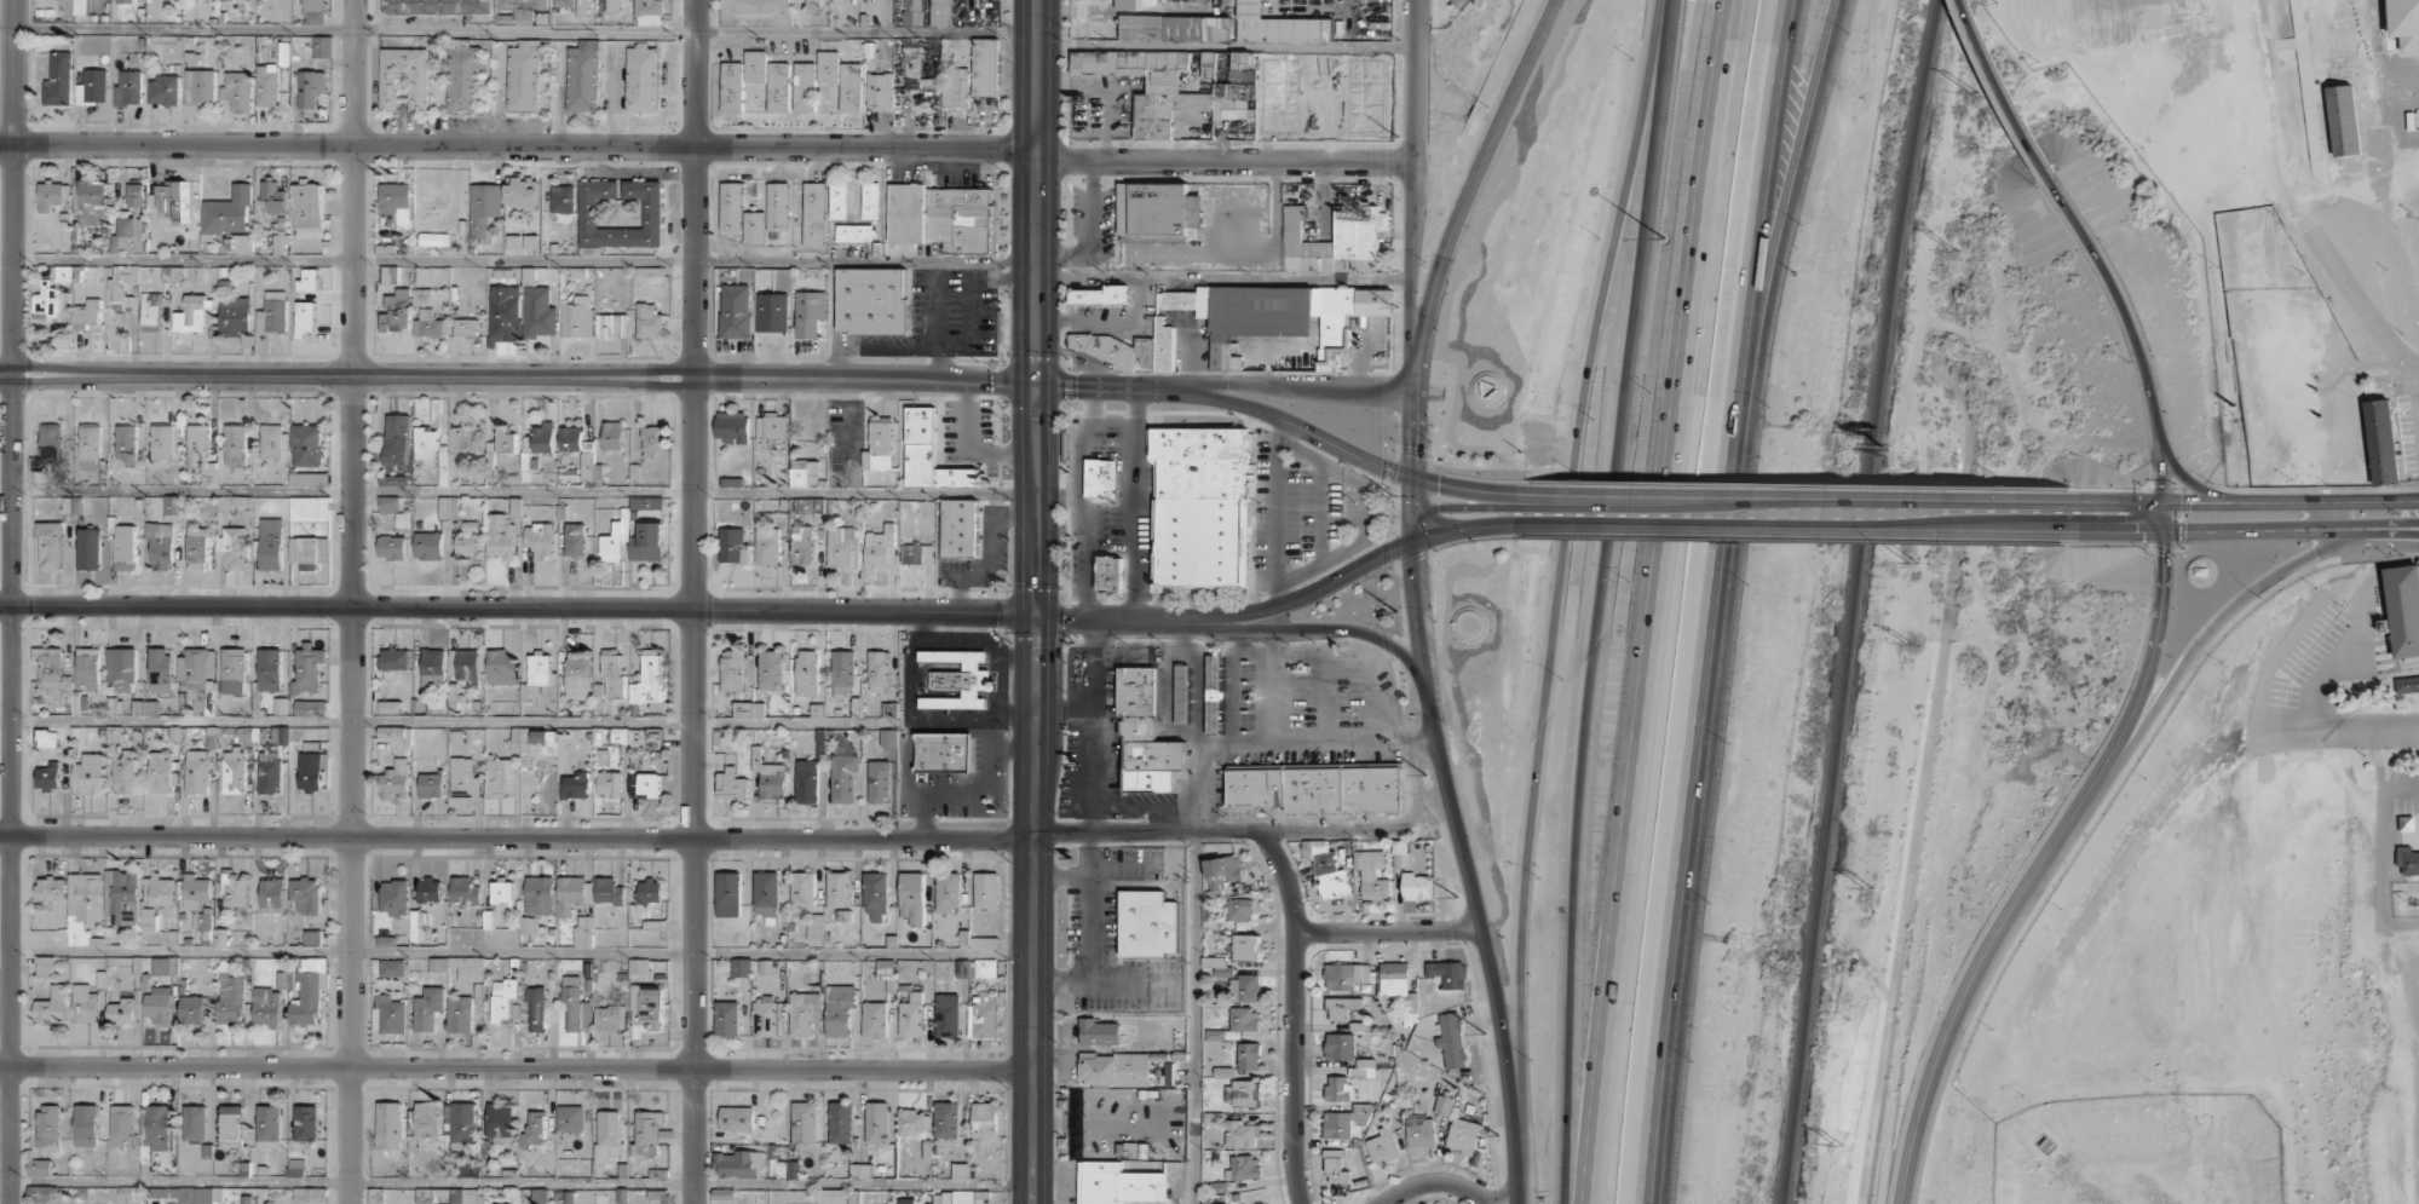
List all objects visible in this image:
building: (1176, 0)
building: (1196, 0)
building: (125, 1)
building: (563, 2)
building: (612, 5)
building: (1127, 5)
building: (81, 6)
building: (436, 6)
building: (755, 6)
building: (816, 6)
building: (583, 7)
building: (523, 8)
building: (313, 11)
building: (649, 12)
building: (912, 12)
building: (941, 12)
park: (1445, 12)
building: (2404, 23)
building: (1279, 25)
building: (1175, 28)
road: (518, 31)
building: (322, 46)
road: (1226, 47)
building: (755, 67)
building: (828, 67)
building: (985, 67)
building: (1243, 67)
building: (462, 75)
building: (523, 76)
building: (583, 76)
building: (643, 77)
building: (404, 79)
building: (58, 80)
building: (938, 80)
road: (1416, 81)
building: (267, 85)
building: (200, 86)
building: (732, 86)
building: (778, 86)
building: (92, 87)
building: (310, 87)
building: (805, 87)
building: (851, 87)
building: (128, 88)
building: (163, 90)
building: (237, 90)
building: (880, 90)
road: (2003, 90)
building: (1174, 100)
building: (1234, 102)
building: (2343, 120)
road: (518, 146)
road: (1226, 160)
building: (523, 192)
building: (52, 195)
building: (134, 195)
building: (273, 196)
building: (173, 198)
building: (561, 198)
building: (837, 200)
building: (870, 200)
building: (92, 201)
building: (397, 202)
building: (306, 203)
road: (1767, 204)
road: (1786, 204)
building: (731, 206)
building: (483, 207)
building: (777, 208)
building: (1157, 208)
building: (229, 212)
building: (587, 213)
building: (813, 214)
building: (941, 217)
road: (1413, 219)
building: (754, 226)
road: (1450, 229)
building: (128, 232)
building: (856, 232)
building: (434, 238)
building: (1335, 240)
building: (240, 242)
building: (513, 242)
building: (530, 242)
building: (281, 243)
road: (705, 263)
building: (69, 273)
building: (390, 273)
building: (529, 276)
building: (309, 280)
road: (1682, 284)
building: (122, 287)
building: (1100, 295)
building: (422, 296)
building: (46, 299)
building: (872, 300)
building: (151, 309)
building: (396, 311)
building: (736, 311)
building: (538, 312)
building: (772, 312)
building: (808, 312)
building: (195, 313)
building: (272, 313)
building: (503, 313)
building: (87, 315)
building: (1280, 315)
building: (235, 316)
building: (305, 317)
building: (577, 317)
building: (650, 321)
building: (430, 324)
building: (612, 326)
building: (466, 327)
road: (1410, 335)
road: (2136, 345)
building: (1130, 348)
road: (1035, 355)
road: (517, 376)
road: (1272, 384)
traffic signals: (1035, 386)
road: (1085, 387)
road: (1277, 416)
building: (731, 426)
building: (772, 426)
building: (610, 434)
building: (543, 438)
building: (571, 438)
building: (398, 440)
building: (506, 440)
building: (652, 440)
building: (52, 442)
building: (90, 442)
building: (162, 442)
building: (271, 442)
building: (2381, 442)
building: (127, 443)
building: (426, 444)
building: (236, 445)
building: (306, 445)
building: (879, 448)
building: (201, 453)
building: (929, 454)
building: (587, 467)
building: (805, 472)
building: (569, 473)
building: (1099, 477)
building: (309, 478)
road: (2190, 482)
road: (1468, 489)
road: (518, 492)
road: (1797, 499)
traffic signals: (2162, 501)
building: (646, 502)
road: (2241, 503)
building: (71, 505)
building: (388, 505)
building: (1200, 506)
building: (172, 507)
building: (448, 508)
building: (309, 509)
road: (1792, 526)
building: (960, 529)
road: (2241, 529)
traffic signals: (2162, 531)
building: (500, 536)
building: (540, 537)
building: (575, 538)
building: (647, 542)
building: (270, 543)
building: (466, 543)
building: (802, 543)
building: (50, 545)
building: (160, 545)
building: (611, 545)
building: (392, 546)
building: (428, 546)
building: (733, 546)
building: (767, 546)
building: (126, 547)
building: (232, 547)
building: (843, 547)
building: (880, 547)
building: (88, 548)
building: (197, 548)
building: (310, 551)
building: (917, 554)
road: (1363, 565)
building: (1108, 574)
road: (1556, 589)
road: (1599, 600)
railway: (1850, 600)
road: (11, 601)
road: (352, 601)
road: (695, 601)
road: (518, 606)
building: (2403, 609)
traffic signals: (1036, 616)
road: (1121, 618)
road: (2216, 622)
road: (1323, 629)
road: (1360, 656)
building: (393, 658)
road: (1121, 658)
building: (433, 661)
road: (1092, 664)
building: (467, 667)
building: (501, 667)
building: (88, 668)
building: (121, 668)
building: (309, 668)
building: (160, 669)
building: (270, 669)
building: (538, 669)
building: (771, 669)
building: (234, 670)
building: (732, 670)
building: (843, 670)
building: (879, 670)
building: (612, 672)
building: (807, 673)
building: (57, 676)
building: (576, 676)
road: (1196, 676)
building: (957, 679)
building: (197, 680)
building: (2407, 684)
building: (649, 685)
road: (1272, 687)
building: (1214, 693)
road: (1325, 697)
road: (1165, 699)
building: (281, 705)
building: (304, 707)
building: (390, 707)
building: (144, 708)
building: (748, 709)
road: (1062, 710)
road: (448, 721)
road: (2345, 731)
building: (394, 732)
building: (114, 733)
building: (1146, 736)
building: (888, 737)
building: (46, 738)
building: (534, 743)
road: (1334, 743)
building: (943, 751)
road: (1206, 759)
building: (311, 768)
building: (197, 771)
building: (232, 771)
road: (1090, 771)
building: (90, 772)
building: (125, 772)
building: (161, 772)
building: (269, 772)
building: (48, 776)
building: (500, 776)
building: (843, 777)
building: (463, 778)
building: (396, 779)
building: (806, 780)
building: (772, 782)
building: (879, 782)
building: (609, 784)
building: (731, 784)
building: (431, 785)
building: (575, 785)
building: (649, 785)
building: (1318, 789)
road: (1689, 807)
road: (1205, 818)
road: (1375, 830)
road: (1456, 831)
road: (629, 836)
building: (1400, 846)
building: (2407, 860)
road: (2035, 866)
building: (1326, 869)
building: (1222, 872)
building: (1371, 874)
building: (1415, 886)
road: (1624, 887)
building: (51, 888)
building: (463, 889)
building: (802, 889)
building: (839, 889)
building: (196, 891)
building: (234, 891)
building: (430, 891)
building: (607, 891)
building: (650, 891)
building: (985, 891)
building: (948, 892)
building: (502, 893)
building: (125, 894)
building: (306, 894)
building: (572, 894)
building: (728, 894)
building: (766, 894)
building: (272, 895)
building: (540, 895)
building: (394, 897)
building: (876, 897)
building: (912, 897)
building: (157, 899)
building: (85, 905)
building: (1240, 909)
building: (1150, 923)
building: (526, 927)
building: (816, 927)
road: (1388, 929)
building: (583, 932)
building: (312, 937)
building: (386, 941)
building: (978, 941)
building: (1244, 946)
road: (516, 951)
road: (1033, 956)
building: (1213, 961)
building: (46, 964)
building: (165, 966)
building: (638, 966)
building: (460, 967)
building: (742, 967)
building: (393, 968)
building: (886, 968)
building: (975, 968)
building: (1447, 973)
building: (1347, 975)
building: (284, 980)
building: (1248, 987)
building: (309, 991)
building: (230, 997)
building: (502, 1000)
building: (85, 1004)
building: (157, 1004)
building: (575, 1004)
building: (52, 1006)
building: (266, 1007)
building: (645, 1007)
building: (1341, 1007)
building: (427, 1008)
building: (192, 1009)
building: (536, 1009)
building: (840, 1009)
building: (122, 1010)
building: (805, 1013)
road: (1295, 1013)
building: (388, 1014)
building: (460, 1014)
building: (911, 1015)
building: (946, 1015)
building: (765, 1016)
building: (610, 1018)
building: (876, 1018)
building: (984, 1018)
road: (1194, 1018)
building: (727, 1019)
building: (1243, 1019)
building: (1099, 1032)
building: (1452, 1041)
building: (1340, 1045)
building: (1249, 1056)
road: (516, 1067)
building: (1364, 1067)
building: (1113, 1068)
building: (1337, 1088)
building: (1240, 1093)
building: (1442, 1105)
building: (1077, 1110)
building: (570, 1118)
building: (737, 1118)
building: (500, 1119)
building: (946, 1119)
building: (984, 1119)
building: (425, 1121)
building: (1346, 1121)
building: (195, 1122)
building: (804, 1122)
building: (840, 1122)
building: (876, 1122)
building: (914, 1122)
building: (306, 1123)
building: (459, 1123)
building: (390, 1124)
building: (86, 1125)
building: (122, 1125)
building: (231, 1125)
building: (267, 1125)
building: (48, 1128)
building: (534, 1128)
building: (155, 1133)
building: (647, 1133)
building: (1419, 1133)
building: (1240, 1134)
building: (607, 1135)
building: (1463, 1135)
building: (1383, 1146)
building: (739, 1164)
building: (781, 1164)
building: (1245, 1166)
building: (1336, 1166)
building: (39, 1168)
building: (470, 1169)
building: (863, 1170)
building: (960, 1171)
road: (1439, 1180)
road: (516, 1183)
building: (1117, 1183)
building: (159, 1192)
building: (41, 1193)
building: (722, 1193)
building: (131, 1194)
building: (195, 1194)
building: (309, 1194)
road: (1517, 1196)
building: (467, 1197)
building: (830, 1197)
building: (960, 1197)
building: (905, 1200)
building: (1219, 1203)

